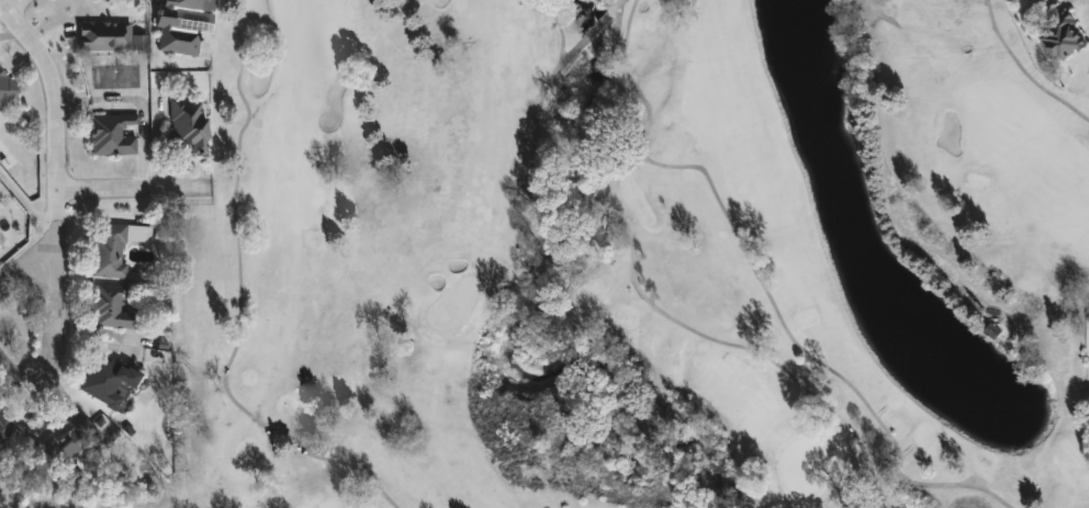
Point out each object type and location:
building: (1019, 1)
road: (13, 7)
building: (180, 25)
building: (103, 34)
building: (1063, 36)
building: (5, 87)
road: (53, 91)
building: (188, 122)
building: (111, 133)
road: (29, 187)
road: (130, 191)
building: (113, 246)
road: (45, 251)
park: (632, 260)
park: (645, 260)
building: (110, 306)
road: (61, 348)
building: (105, 379)
building: (4, 429)
building: (61, 445)

